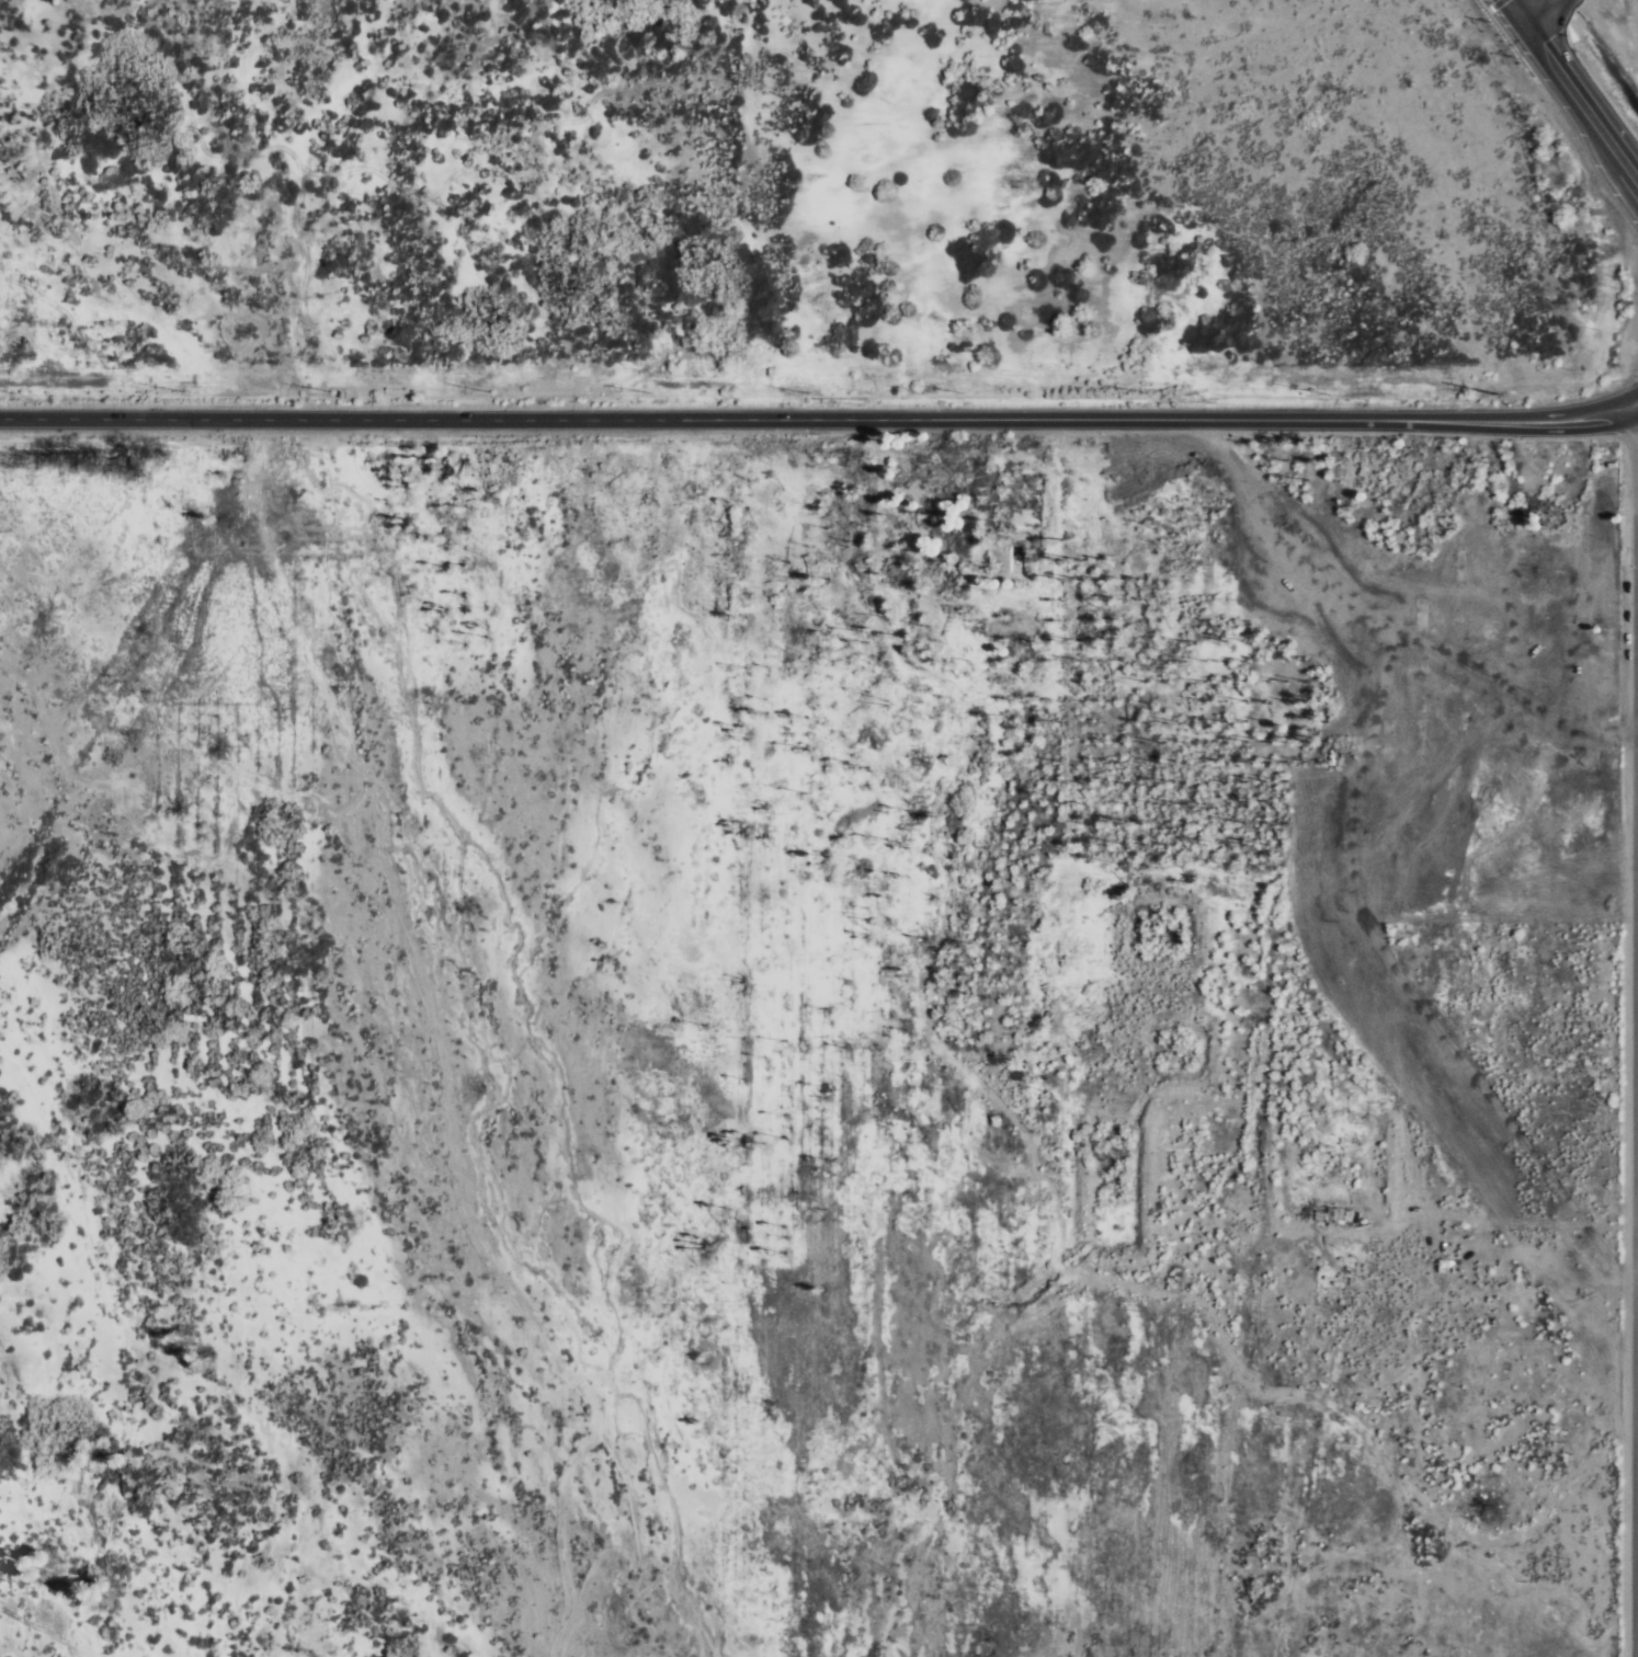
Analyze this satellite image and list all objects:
road: (1523, 9)
road: (1542, 9)
road: (1583, 94)
road: (818, 422)
road: (1637, 1040)

